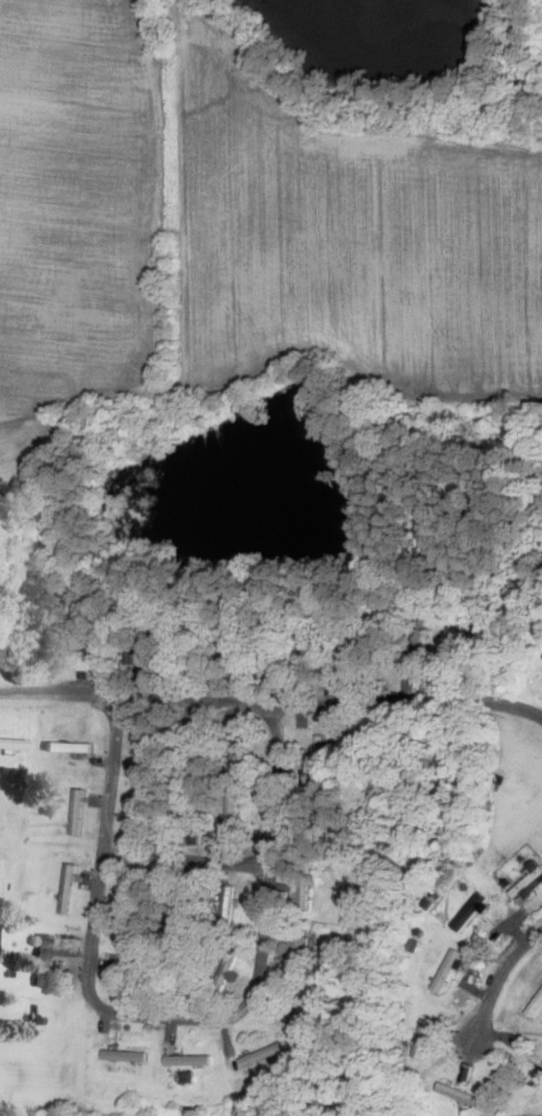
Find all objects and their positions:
road: (273, 705)
building: (4, 742)
road: (188, 860)
building: (466, 915)
building: (301, 949)
building: (42, 958)
building: (448, 969)
road: (499, 983)
road: (169, 1016)

